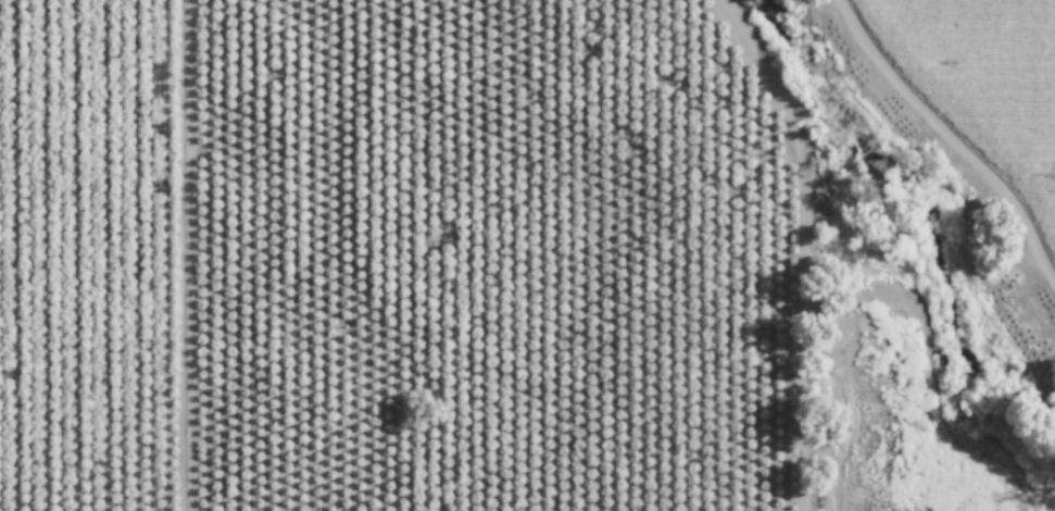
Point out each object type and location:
crop: (976, 95)

